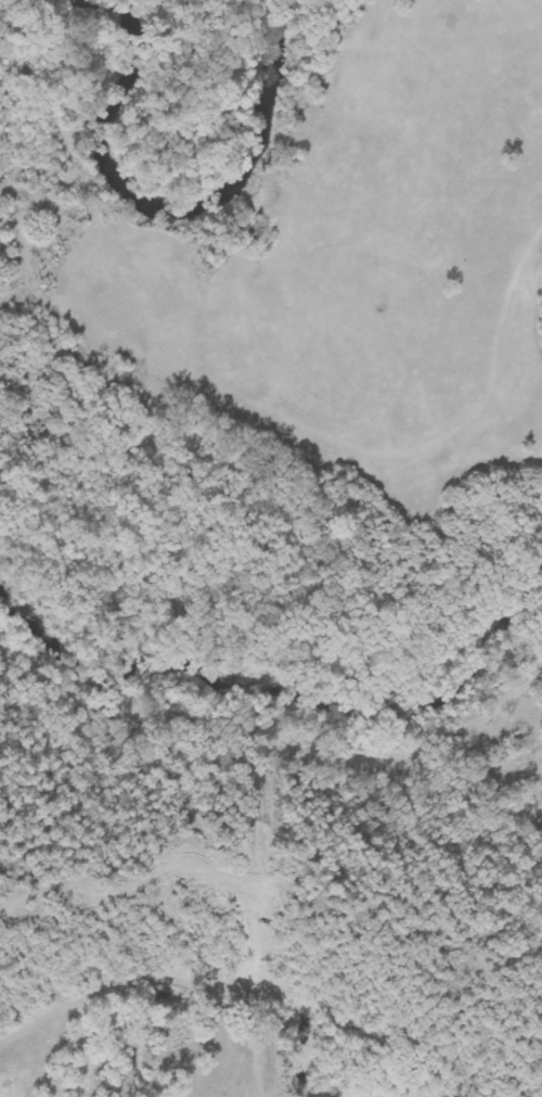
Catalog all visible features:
road: (268, 719)

